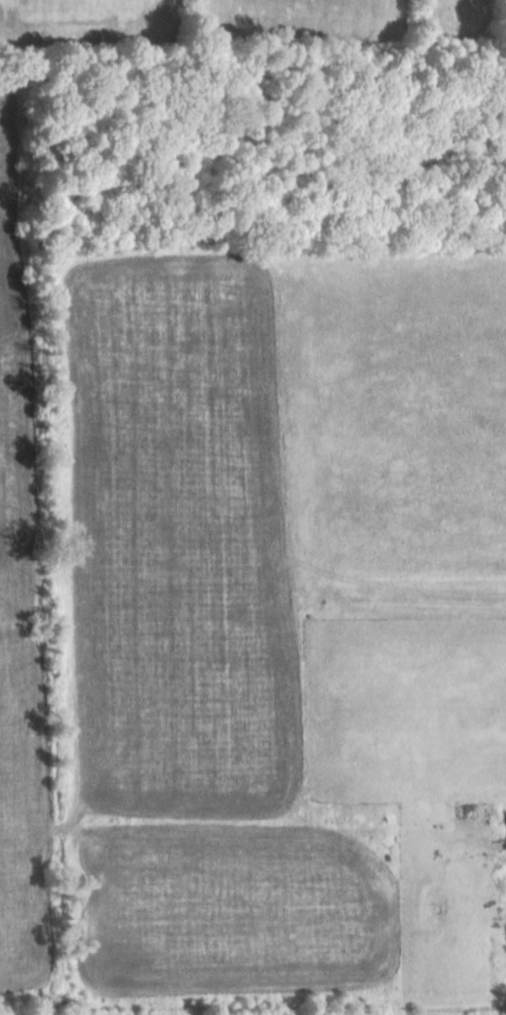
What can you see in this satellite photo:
building: (470, 812)

